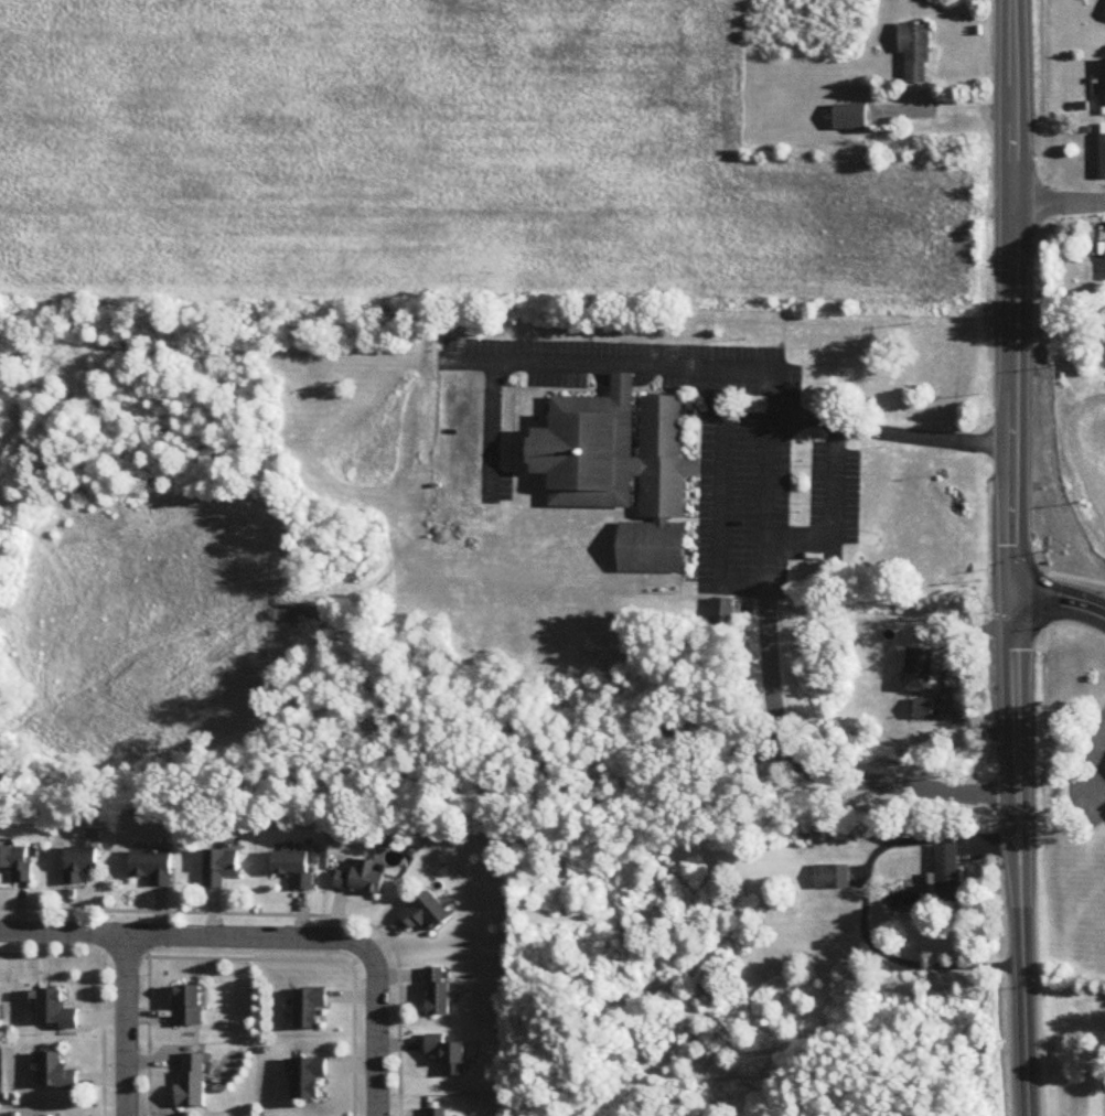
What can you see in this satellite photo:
building: (1104, 13)
building: (915, 53)
building: (850, 117)
road: (1060, 205)
road: (1015, 299)
road: (545, 360)
parking lot: (708, 451)
road: (720, 452)
building: (626, 469)
road: (770, 472)
road: (1062, 602)
building: (722, 612)
building: (919, 670)
road: (948, 682)
building: (923, 709)
road: (1104, 752)
building: (1104, 764)
road: (815, 773)
road: (1098, 776)
road: (1020, 857)
building: (18, 863)
building: (81, 866)
building: (153, 867)
building: (221, 868)
building: (294, 869)
building: (946, 876)
building: (833, 878)
building: (362, 880)
building: (427, 915)
road: (244, 938)
road: (63, 940)
building: (439, 994)
building: (189, 1007)
building: (310, 1009)
building: (57, 1012)
road: (126, 1028)
road: (376, 1031)
building: (448, 1056)
building: (56, 1075)
building: (309, 1079)
building: (193, 1082)
building: (437, 1113)

